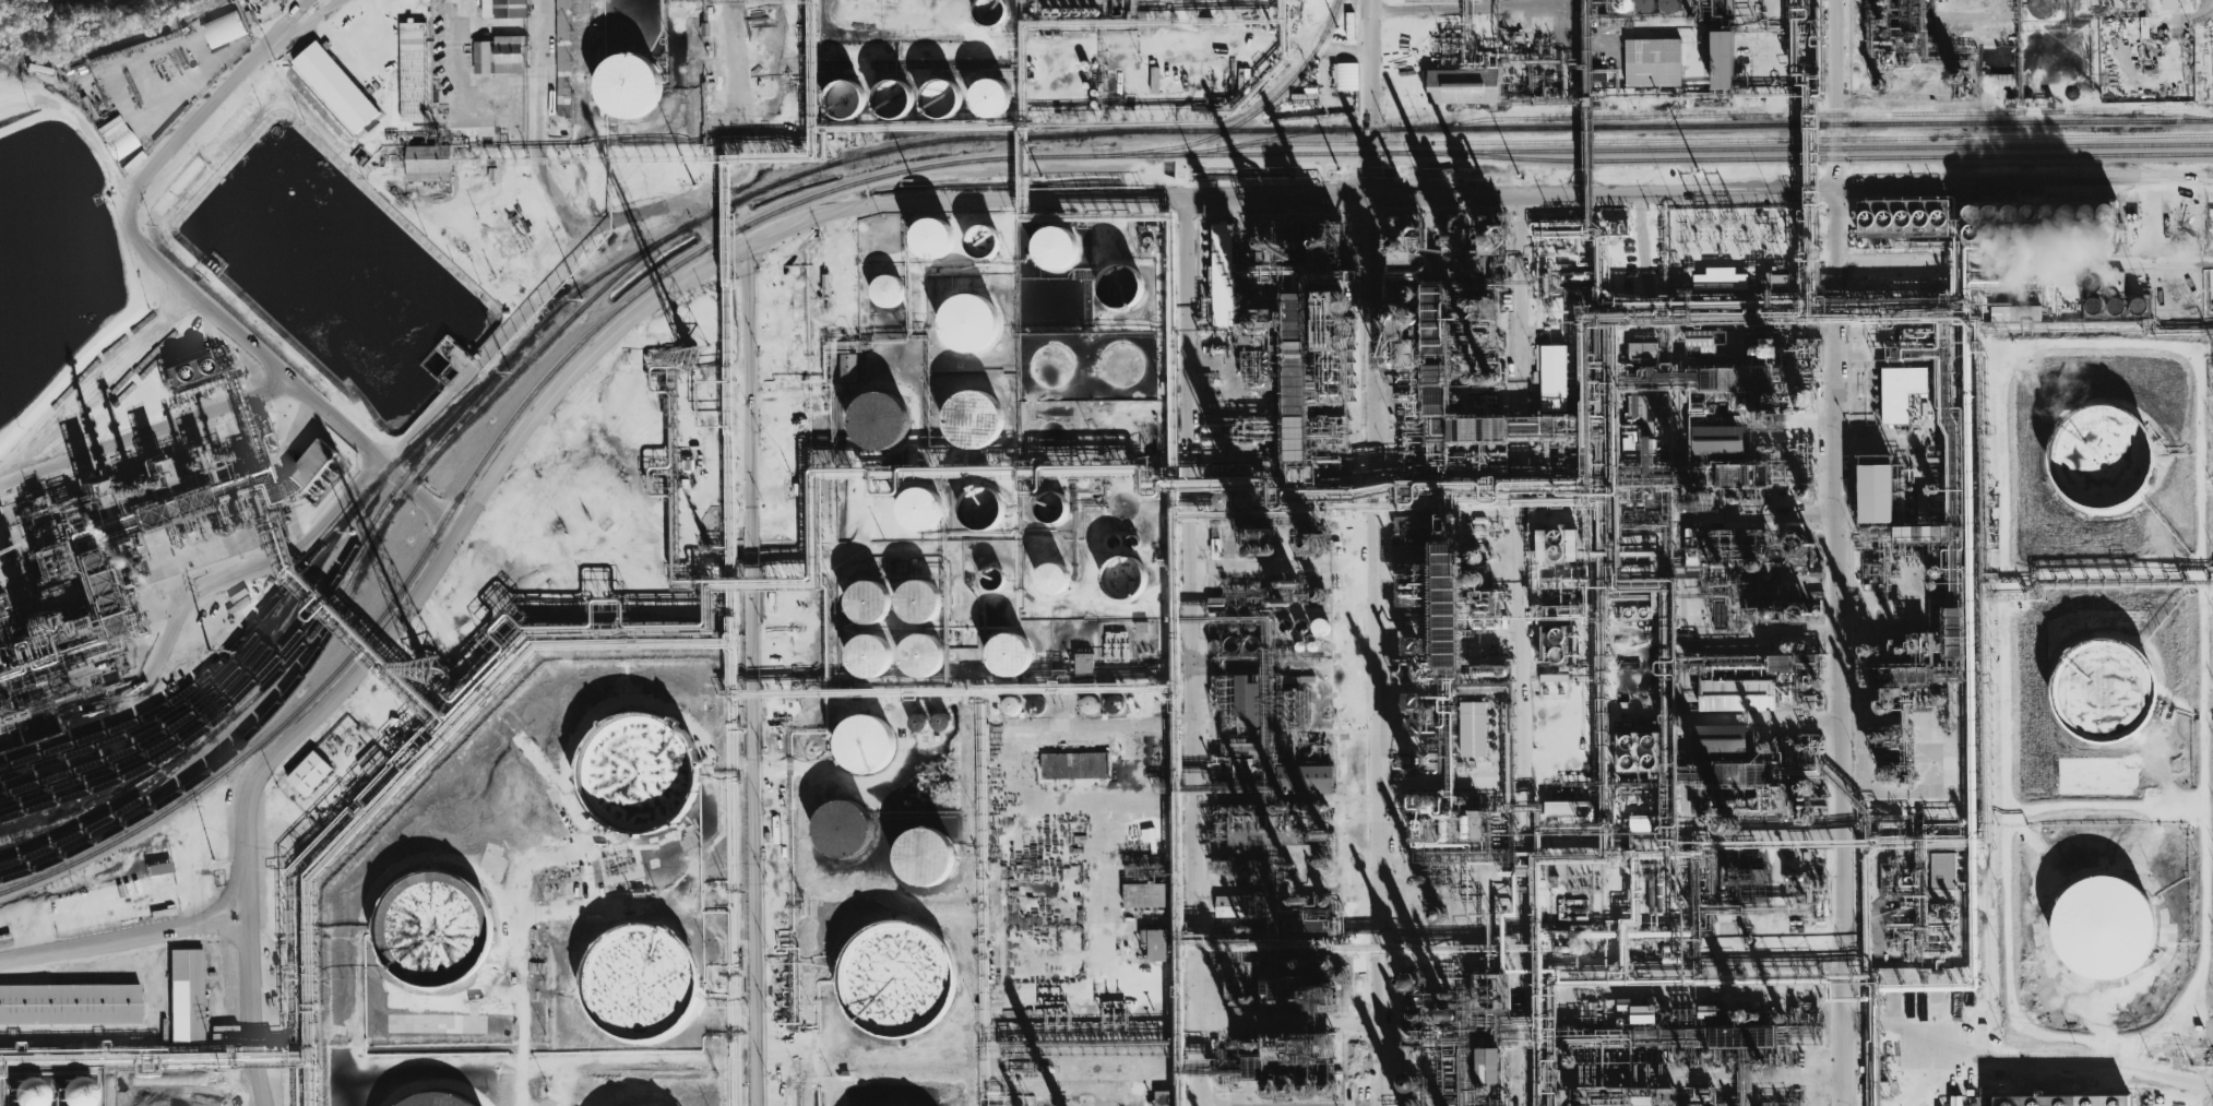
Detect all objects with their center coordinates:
building: (2170, 3)
building: (1622, 5)
building: (1646, 5)
building: (1669, 5)
building: (504, 9)
building: (989, 12)
building: (1349, 25)
building: (223, 28)
building: (412, 36)
road: (2191, 37)
road: (1125, 48)
road: (1427, 51)
building: (500, 55)
building: (1723, 60)
building: (1653, 62)
building: (623, 76)
storage tank: (623, 76)
building: (1347, 76)
building: (335, 86)
building: (936, 86)
storage tank: (936, 86)
building: (1455, 86)
building: (988, 87)
storage tank: (988, 87)
building: (835, 90)
storage tank: (835, 90)
building: (887, 90)
storage tank: (887, 90)
road: (736, 93)
road: (1831, 94)
road: (1370, 97)
road: (462, 102)
road: (31, 103)
road: (214, 108)
railway: (2173, 110)
railway: (1800, 115)
railway: (1242, 120)
railway: (1800, 123)
road: (88, 135)
railway: (1007, 136)
road: (545, 138)
railway: (1270, 139)
railway: (1714, 140)
railway: (1801, 148)
railway: (1800, 157)
building: (427, 164)
road: (389, 188)
railway: (841, 188)
road: (1566, 194)
building: (1904, 217)
building: (2039, 222)
building: (932, 238)
storage tank: (932, 238)
building: (983, 240)
storage tank: (983, 240)
building: (1056, 248)
storage tank: (1056, 248)
building: (1223, 276)
building: (1720, 280)
building: (2093, 282)
storage tank: (2093, 282)
railway: (587, 284)
building: (1120, 285)
storage tank: (1120, 285)
building: (888, 289)
storage tank: (888, 289)
building: (2093, 305)
storage tank: (2093, 305)
building: (2116, 305)
storage tank: (2116, 305)
building: (2138, 305)
storage tank: (2138, 305)
building: (2024, 312)
building: (969, 322)
storage tank: (969, 322)
building: (1701, 341)
road: (2075, 343)
road: (100, 350)
building: (1643, 353)
storage tank: (1121, 364)
building: (848, 367)
storage tank: (1051, 367)
building: (1551, 377)
building: (1901, 392)
building: (975, 419)
storage tank: (975, 419)
building: (879, 420)
storage tank: (879, 420)
road: (419, 424)
railway: (435, 426)
road: (143, 433)
storage tank: (1051, 436)
building: (1716, 440)
building: (2095, 442)
storage tank: (2095, 442)
building: (311, 464)
building: (1876, 493)
road: (418, 498)
building: (1052, 507)
storage tank: (1052, 507)
building: (981, 508)
storage tank: (981, 508)
building: (920, 509)
storage tank: (920, 509)
building: (12, 515)
building: (1115, 542)
storage tank: (1115, 542)
building: (1133, 542)
storage tank: (1133, 542)
building: (1311, 544)
building: (1557, 545)
railway: (359, 562)
road: (2103, 572)
building: (1054, 578)
storage tank: (1054, 578)
building: (1123, 578)
storage tank: (1123, 578)
building: (992, 579)
storage tank: (992, 579)
road: (1785, 580)
road: (751, 586)
building: (869, 600)
storage tank: (869, 600)
building: (918, 600)
storage tank: (918, 600)
road: (393, 626)
building: (1141, 627)
building: (1320, 627)
railway: (293, 639)
building: (1559, 645)
road: (1835, 646)
road: (1377, 650)
road: (1177, 653)
building: (1009, 654)
storage tank: (1009, 654)
building: (921, 655)
storage tank: (921, 655)
building: (869, 656)
storage tank: (869, 656)
building: (1781, 663)
building: (1083, 664)
railway: (211, 669)
road: (1524, 674)
railway: (218, 689)
building: (2105, 691)
storage tank: (2105, 691)
building: (1737, 694)
railway: (305, 701)
building: (1248, 701)
building: (1036, 703)
storage tank: (1036, 703)
railway: (182, 704)
building: (1091, 704)
storage tank: (1091, 704)
building: (1115, 704)
storage tank: (1115, 704)
building: (1012, 705)
storage tank: (1012, 705)
road: (1352, 715)
road: (1959, 717)
railway: (201, 718)
building: (918, 722)
storage tank: (918, 722)
building: (941, 722)
storage tank: (941, 722)
building: (1476, 729)
building: (1721, 739)
building: (866, 744)
storage tank: (866, 744)
railway: (237, 745)
building: (1074, 765)
building: (639, 772)
storage tank: (639, 772)
building: (309, 773)
road: (1897, 784)
road: (2103, 805)
building: (1572, 808)
railway: (115, 813)
building: (843, 829)
storage tank: (843, 829)
building: (925, 857)
storage tank: (925, 857)
railway: (72, 864)
building: (159, 868)
building: (1144, 894)
building: (1229, 906)
building: (427, 916)
storage tank: (427, 916)
building: (2103, 920)
storage tank: (2103, 920)
road: (121, 935)
building: (1155, 943)
building: (633, 973)
storage tank: (633, 973)
road: (1526, 975)
building: (896, 978)
storage tank: (896, 978)
building: (187, 995)
building: (69, 1003)
building: (1642, 1014)
road: (1976, 1049)
building: (1488, 1065)
road: (1952, 1069)
road: (2167, 1075)
building: (1411, 1082)
building: (23, 1087)
storage tank: (23, 1087)
building: (71, 1089)
storage tank: (71, 1089)
road: (2002, 1091)
road: (2211, 1094)
building: (1669, 1096)
building: (1165, 1097)
building: (431, 1098)
storage tank: (431, 1098)
building: (2066, 1102)
building: (1971, 1103)

